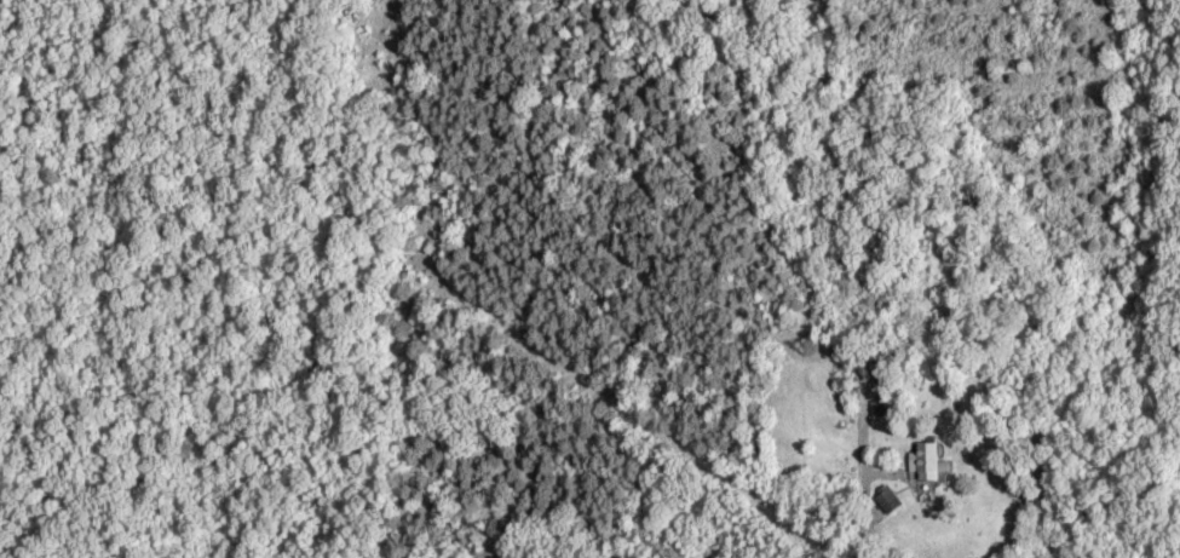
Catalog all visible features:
building: (925, 462)
building: (885, 501)

